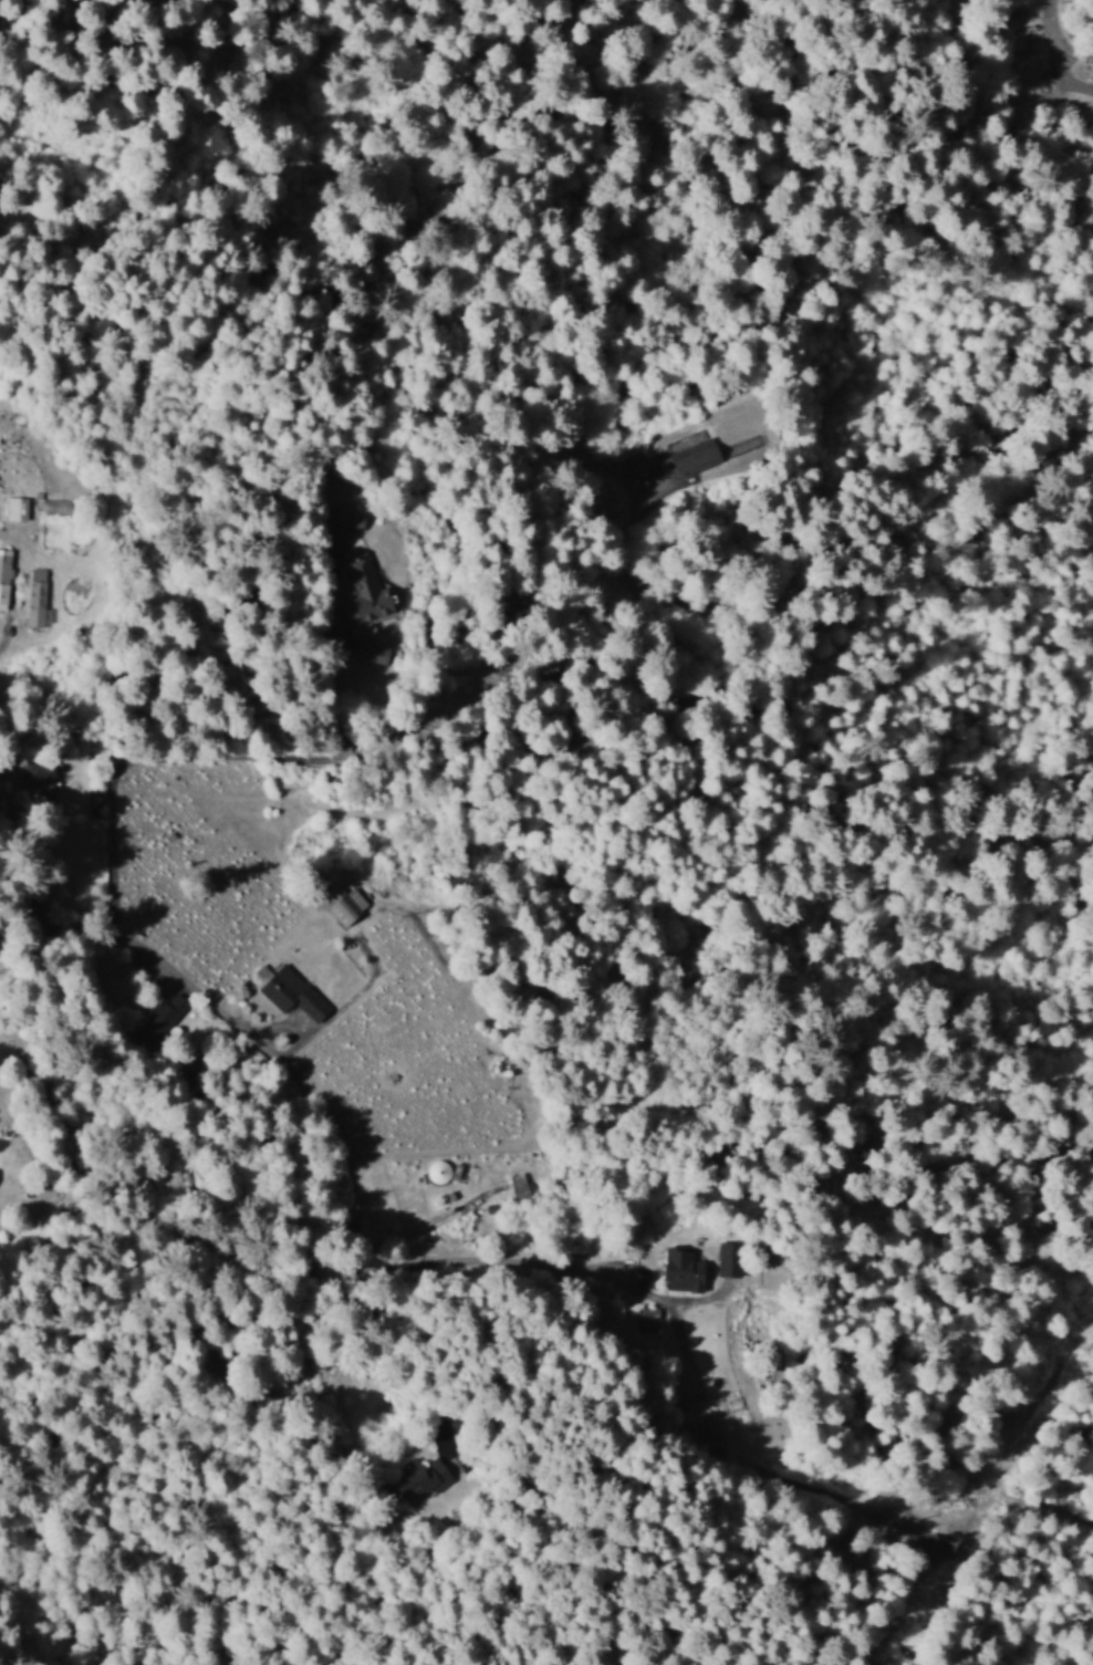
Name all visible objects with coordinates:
building: (696, 457)
building: (54, 506)
building: (15, 508)
building: (351, 517)
building: (4, 576)
building: (364, 586)
building: (35, 596)
building: (344, 904)
road: (450, 920)
building: (289, 991)
road: (347, 1159)
building: (440, 1170)
building: (520, 1185)
building: (732, 1257)
building: (685, 1269)
road: (514, 1335)
building: (424, 1477)

